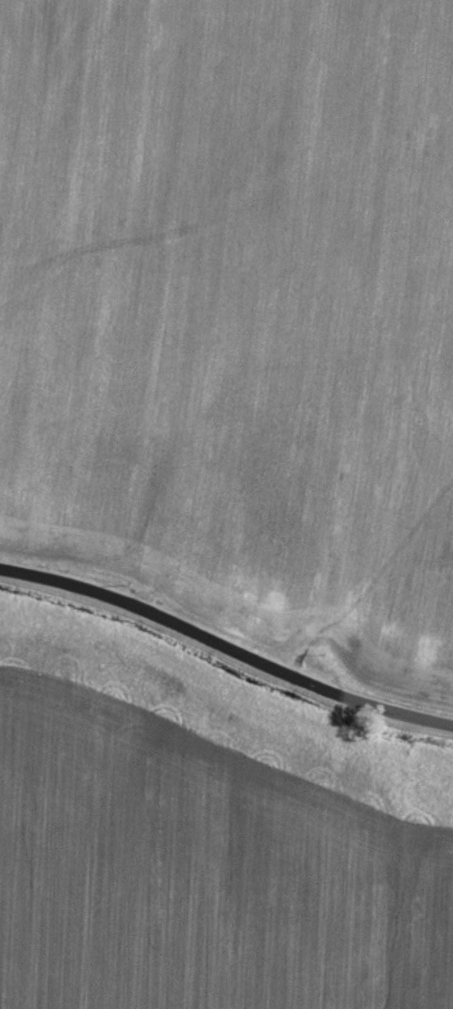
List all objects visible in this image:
road: (225, 647)

